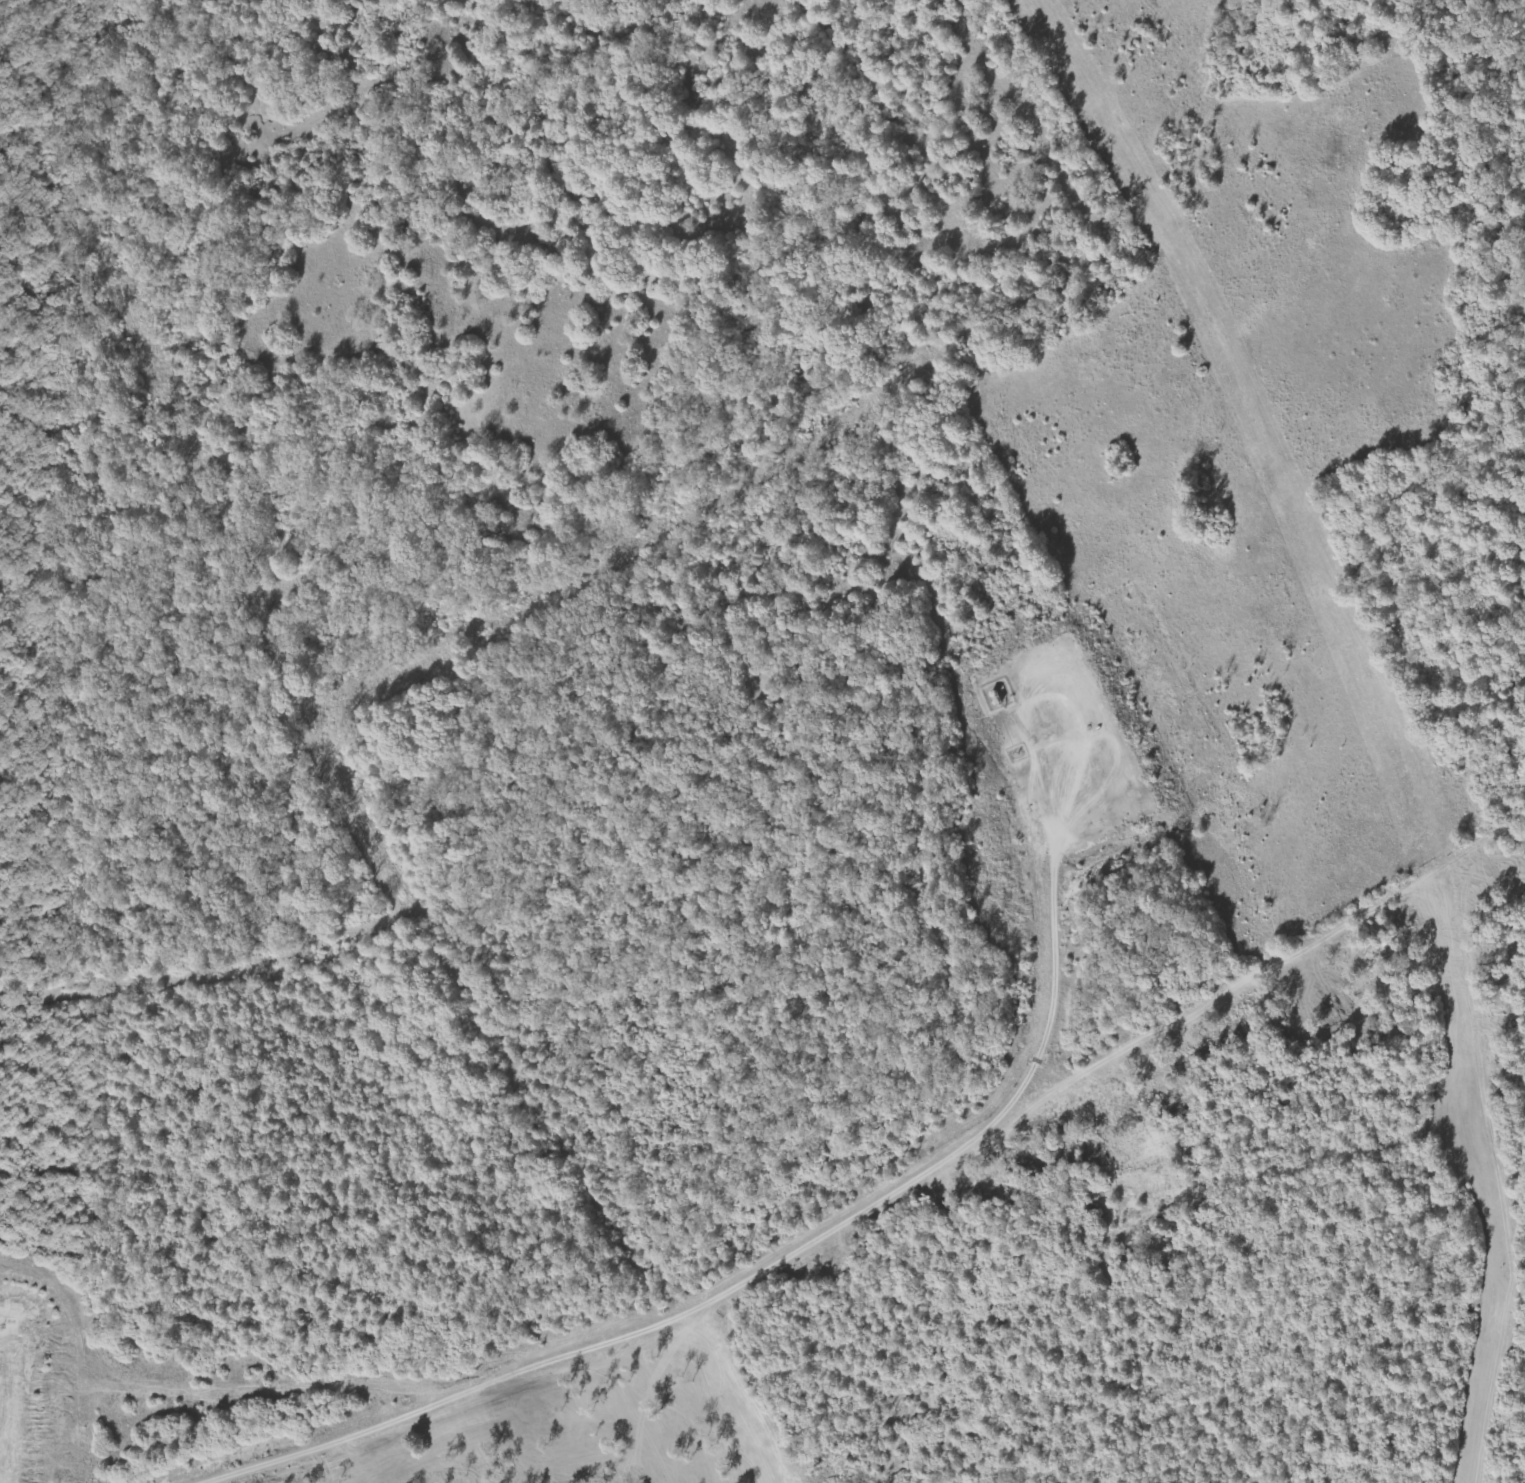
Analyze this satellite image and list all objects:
road: (1058, 674)
building: (989, 695)
silo: (989, 695)
building: (993, 704)
silo: (993, 704)
petroleum well: (1091, 725)
chimney: (1016, 751)
road: (762, 1270)
road: (18, 1387)

